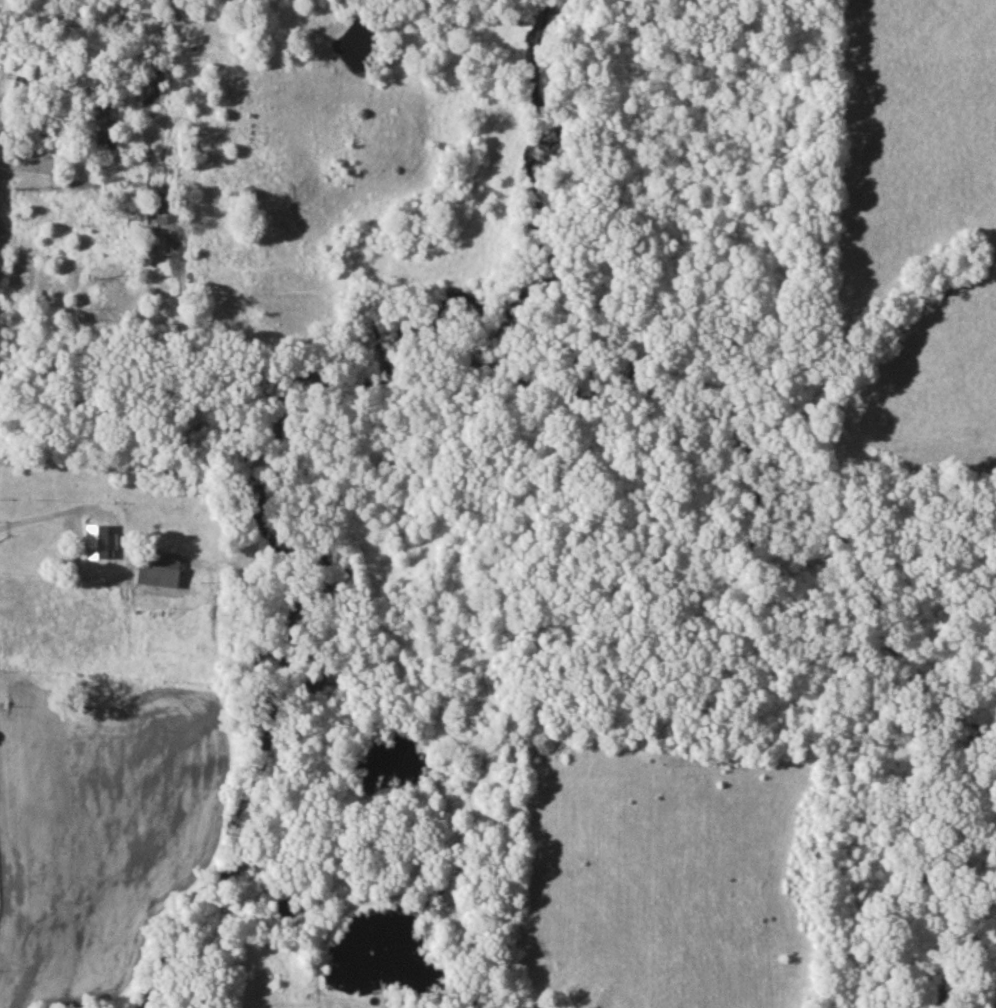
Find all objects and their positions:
road: (57, 87)
building: (103, 127)
building: (160, 206)
river: (368, 402)
road: (52, 515)
building: (92, 542)
building: (154, 569)

